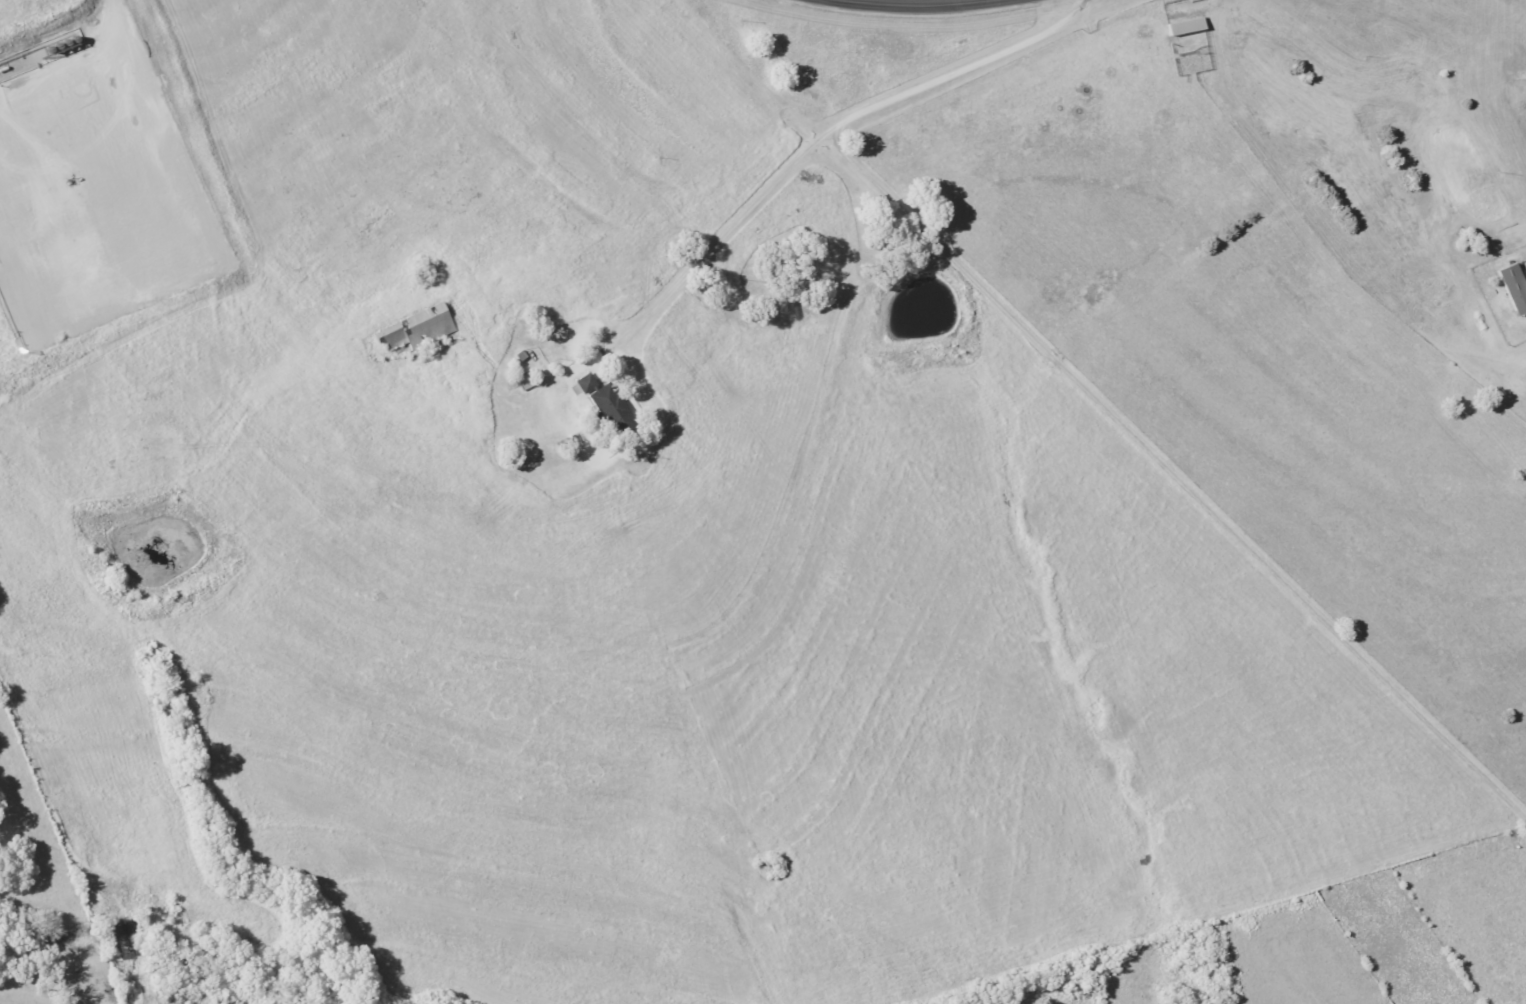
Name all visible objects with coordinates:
road: (947, 3)
building: (1187, 27)
road: (819, 143)
building: (1515, 288)
building: (418, 329)
building: (526, 382)
building: (588, 383)
building: (611, 404)

